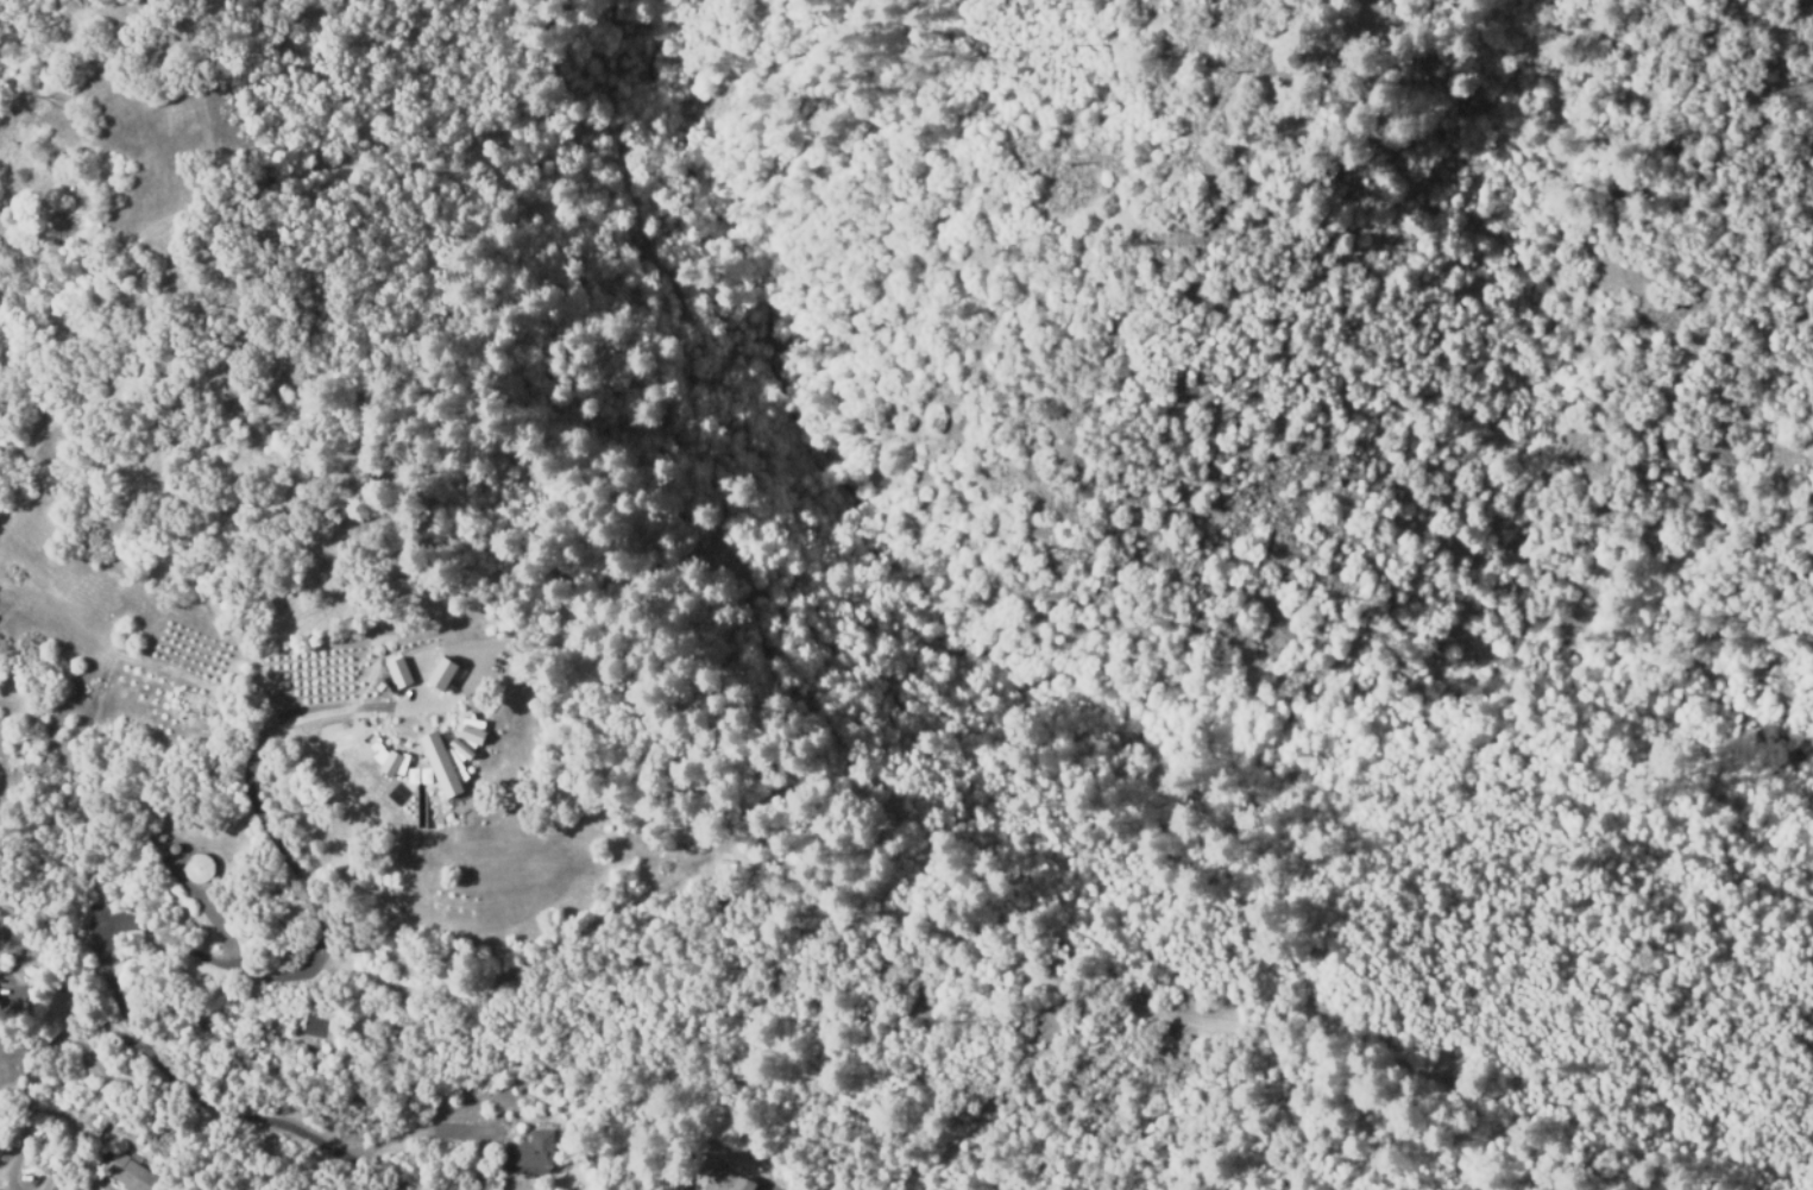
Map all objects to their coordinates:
building: (443, 668)
building: (399, 669)
building: (443, 761)
building: (394, 762)
building: (159, 833)
building: (200, 863)
road: (214, 1102)
building: (94, 1120)
building: (533, 1150)
building: (132, 1173)
building: (724, 1180)

